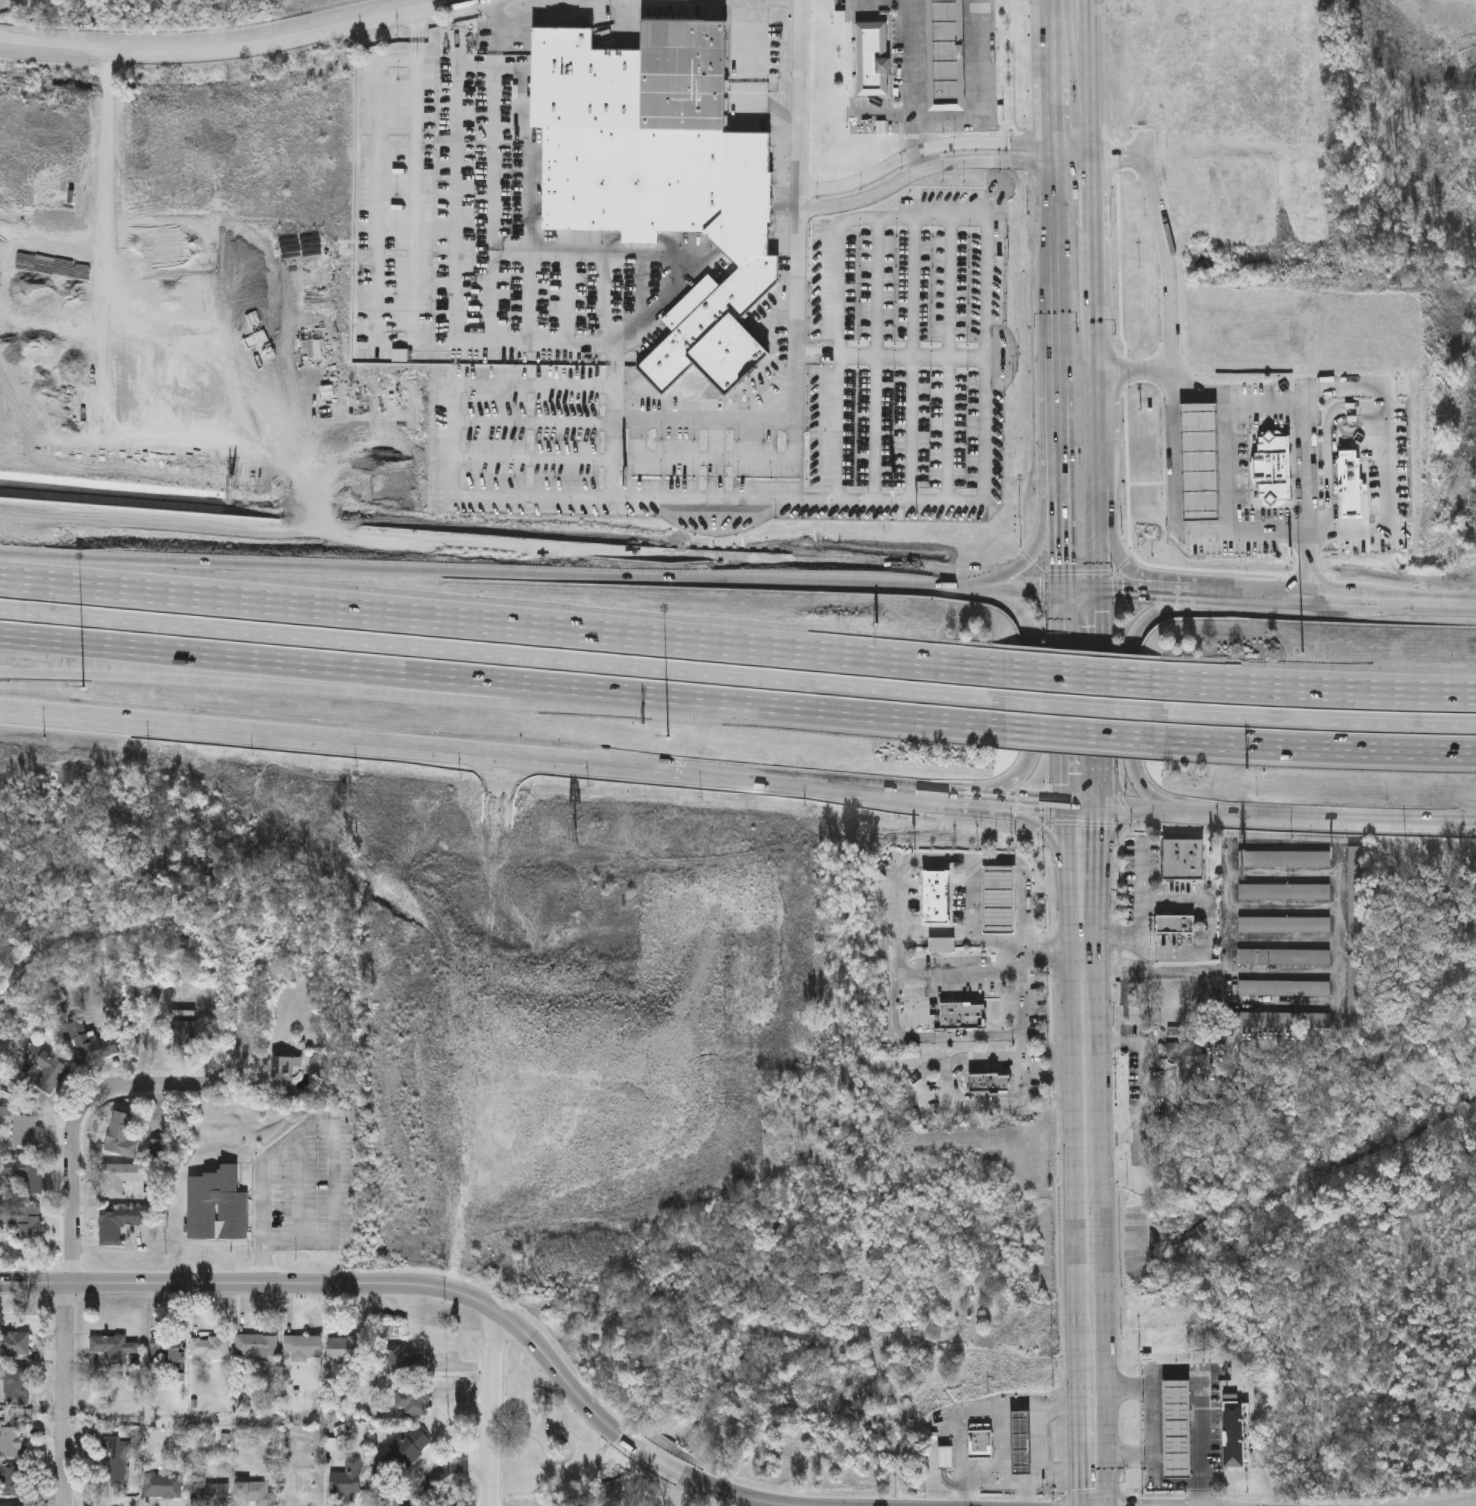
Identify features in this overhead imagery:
road: (751, 1)
road: (689, 2)
road: (778, 2)
road: (882, 4)
road: (418, 5)
road: (496, 14)
road: (564, 15)
road: (1084, 21)
road: (418, 22)
road: (1053, 36)
road: (497, 46)
road: (419, 50)
road: (233, 52)
building: (948, 55)
road: (419, 56)
gas station: (949, 56)
building: (873, 59)
road: (458, 63)
road: (805, 65)
road: (913, 77)
road: (751, 81)
road: (977, 89)
road: (1085, 97)
road: (1053, 111)
road: (887, 115)
road: (925, 151)
road: (1069, 152)
road: (1116, 153)
road: (922, 160)
road: (923, 166)
building: (1240, 169)
building: (662, 174)
road: (1086, 194)
road: (379, 204)
road: (461, 206)
road: (494, 206)
building: (1216, 210)
road: (1054, 239)
road: (535, 248)
road: (951, 287)
road: (642, 288)
road: (914, 288)
road: (877, 290)
road: (607, 301)
road: (569, 302)
road: (533, 350)
road: (798, 353)
road: (1057, 355)
road: (813, 356)
road: (805, 357)
road: (913, 358)
road: (1133, 374)
road: (1298, 398)
road: (1093, 415)
road: (536, 421)
road: (837, 429)
road: (875, 430)
road: (913, 430)
road: (949, 430)
road: (455, 440)
road: (1059, 441)
road: (535, 458)
road: (1388, 458)
road: (717, 460)
building: (1201, 462)
gas station: (1201, 462)
building: (1270, 467)
road: (989, 480)
building: (1350, 480)
road: (1177, 481)
road: (171, 527)
road: (1061, 547)
road: (1116, 556)
road: (1032, 560)
road: (619, 562)
road: (1311, 566)
road: (362, 578)
road: (989, 588)
traffic signals: (1082, 592)
road: (1118, 592)
road: (1172, 594)
road: (1251, 598)
road: (1393, 601)
road: (1011, 609)
road: (1150, 616)
road: (494, 622)
road: (1082, 623)
building: (164, 633)
road: (495, 656)
road: (1064, 676)
building: (641, 677)
road: (494, 682)
road: (300, 690)
road: (1307, 692)
road: (1030, 704)
road: (1065, 707)
road: (1081, 708)
road: (1130, 710)
road: (1307, 722)
road: (1065, 733)
road: (1308, 747)
road: (461, 758)
road: (1080, 784)
road: (1142, 787)
road: (1001, 788)
road: (943, 795)
road: (970, 797)
road: (1029, 802)
traffic signals: (1080, 806)
road: (1277, 814)
road: (1037, 827)
road: (1113, 835)
road: (1080, 842)
building: (1184, 859)
road: (970, 861)
building: (1285, 861)
road: (1143, 893)
building: (1285, 894)
building: (936, 897)
building: (998, 899)
gas station: (998, 899)
building: (1358, 900)
road: (1082, 901)
road: (1199, 903)
building: (1177, 924)
building: (1286, 926)
road: (965, 934)
road: (1083, 934)
road: (1340, 936)
road: (1120, 943)
building: (942, 945)
road: (1055, 946)
road: (1178, 951)
road: (901, 953)
road: (1084, 958)
building: (1285, 958)
road: (1212, 972)
road: (960, 975)
parking lot: (952, 978)
building: (1285, 989)
building: (1357, 992)
road: (1085, 995)
road: (1289, 1004)
road: (1125, 1010)
building: (962, 1016)
building: (1286, 1023)
building: (184, 1032)
road: (932, 1039)
building: (89, 1044)
building: (1191, 1058)
road: (953, 1062)
building: (46, 1073)
building: (283, 1073)
road: (1023, 1079)
building: (990, 1082)
road: (1148, 1087)
road: (1088, 1106)
road: (322, 1126)
building: (22, 1129)
building: (121, 1133)
building: (25, 1173)
building: (120, 1177)
road: (69, 1189)
building: (216, 1206)
building: (23, 1220)
building: (116, 1221)
road: (1090, 1241)
road: (420, 1286)
building: (14, 1344)
building: (257, 1344)
building: (114, 1346)
building: (210, 1347)
building: (300, 1347)
building: (344, 1347)
building: (168, 1352)
building: (17, 1385)
road: (1202, 1385)
road: (1094, 1396)
building: (412, 1398)
road: (490, 1406)
road: (984, 1410)
road: (524, 1431)
building: (1181, 1431)
gas station: (1181, 1431)
gas station: (1236, 1432)
building: (933, 1435)
building: (1020, 1439)
gas station: (1020, 1439)
building: (979, 1440)
road: (1042, 1440)
building: (11, 1441)
road: (1154, 1444)
building: (406, 1449)
park: (564, 1451)
building: (117, 1455)
building: (945, 1455)
road: (1050, 1473)
road: (432, 1475)
building: (347, 1477)
building: (10, 1479)
building: (162, 1484)
road: (1162, 1485)
road: (995, 1488)
building: (255, 1493)
building: (210, 1494)
building: (11, 1505)

